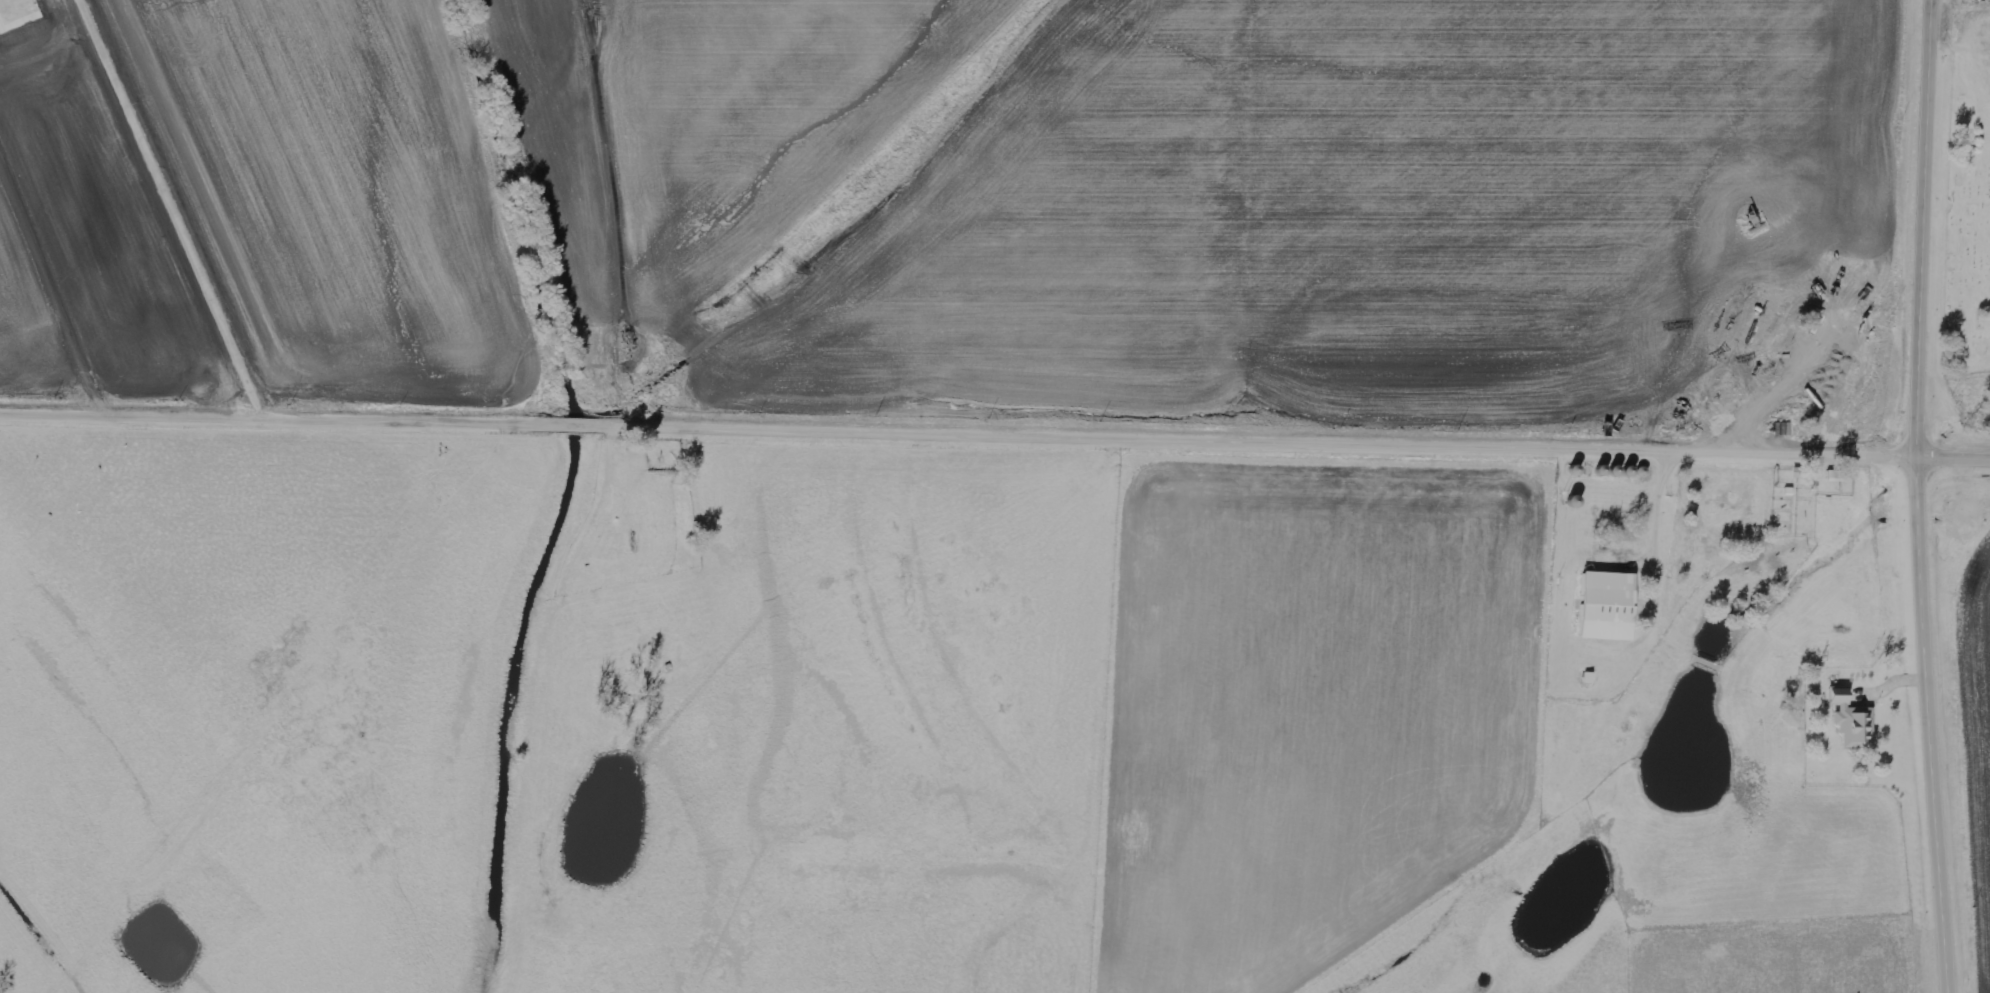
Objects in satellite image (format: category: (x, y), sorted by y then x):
park: (1964, 193)
road: (1924, 229)
road: (958, 430)
road: (1953, 459)
building: (1610, 607)
building: (1852, 720)
road: (1928, 726)

